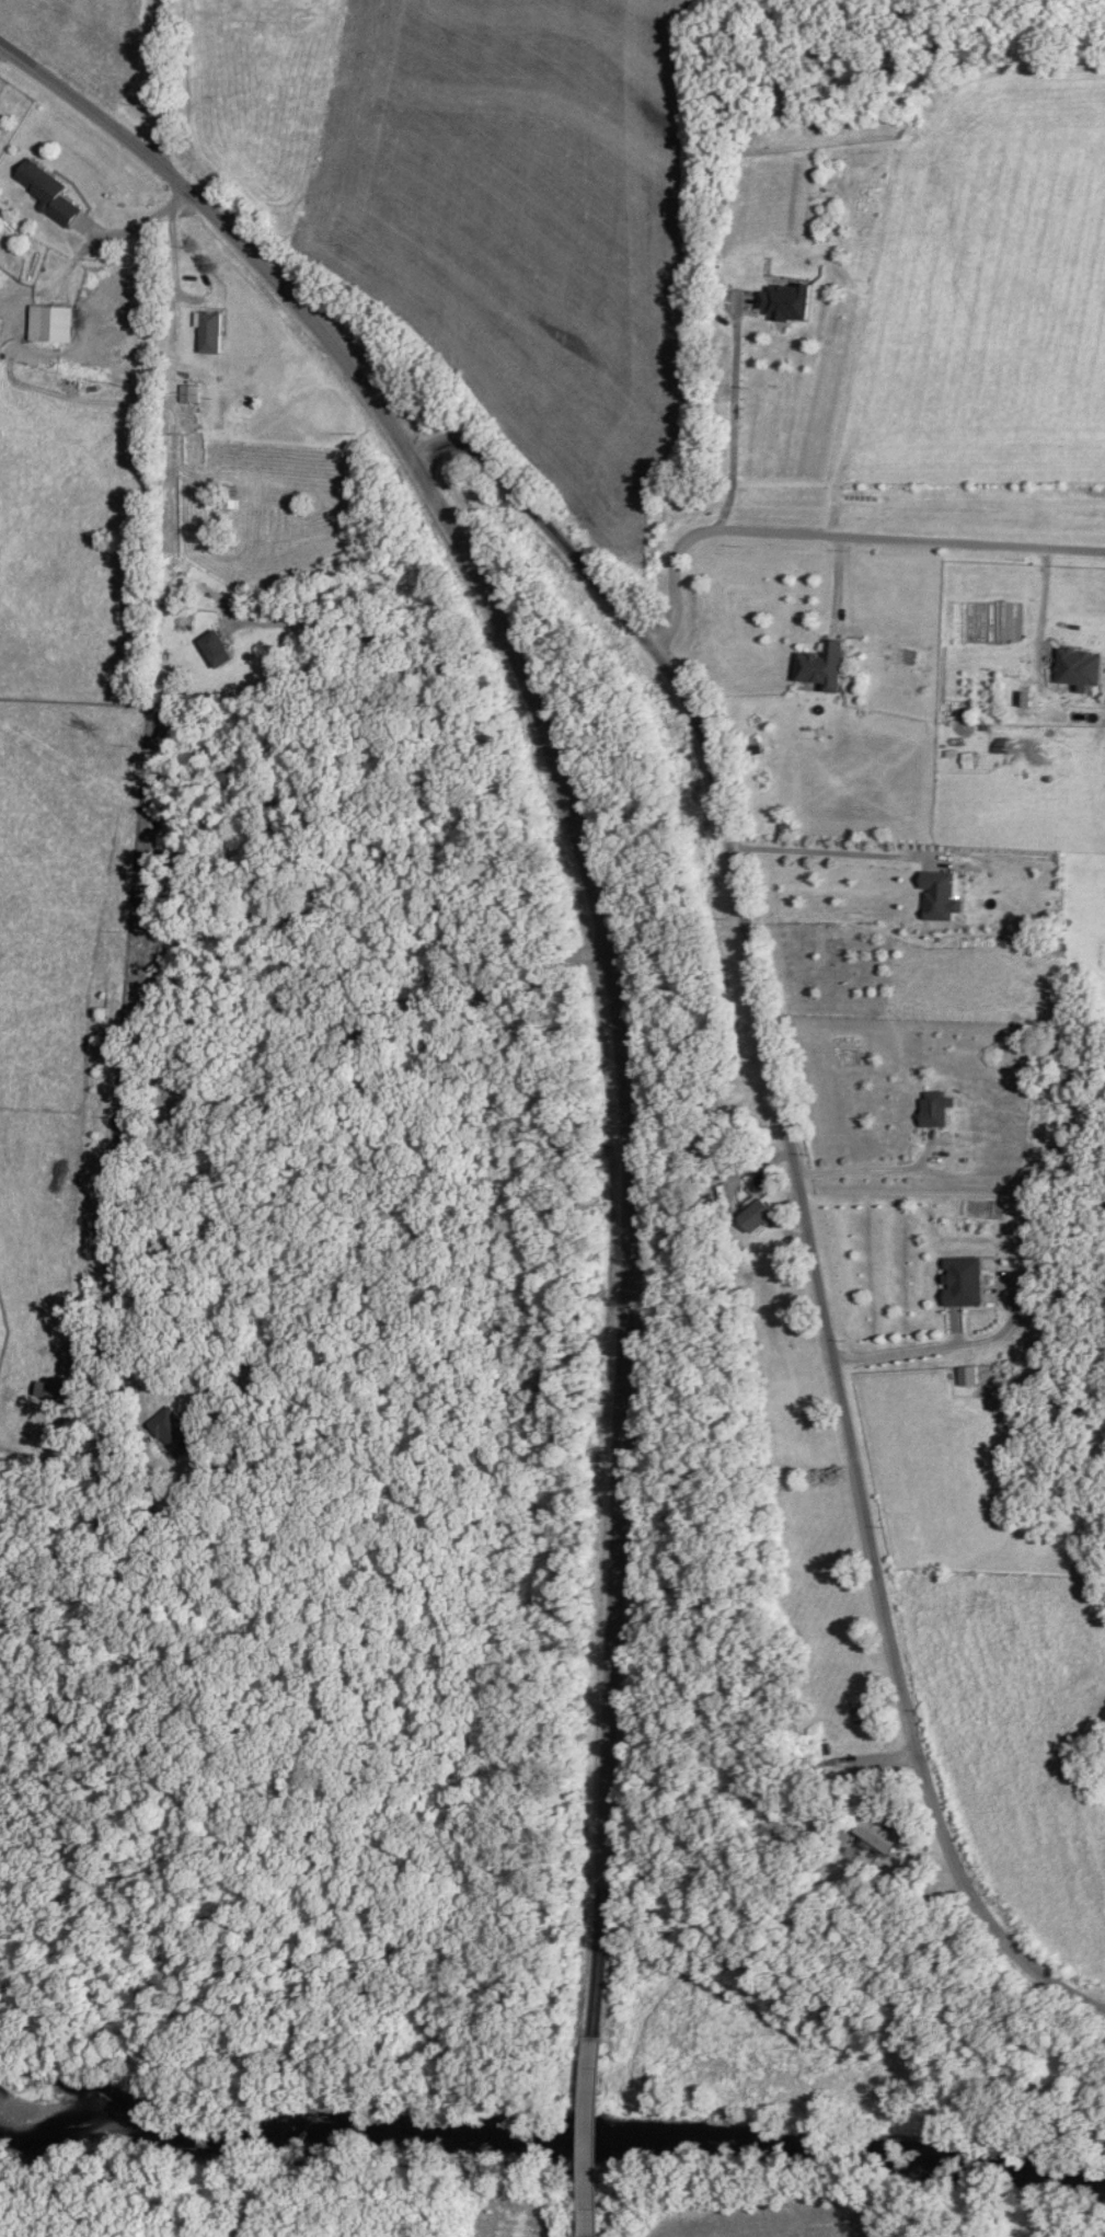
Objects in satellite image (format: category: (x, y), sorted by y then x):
building: (941, 54)
road: (160, 82)
building: (42, 190)
building: (784, 300)
building: (47, 323)
building: (206, 332)
building: (188, 393)
building: (193, 421)
road: (834, 536)
road: (365, 635)
building: (211, 647)
building: (818, 667)
building: (1075, 668)
road: (158, 801)
building: (936, 895)
road: (602, 938)
road: (874, 1172)
road: (803, 1189)
building: (752, 1215)
building: (958, 1281)
building: (171, 1431)
building: (871, 1831)
river: (552, 2136)
road: (589, 2138)
road: (585, 2234)

